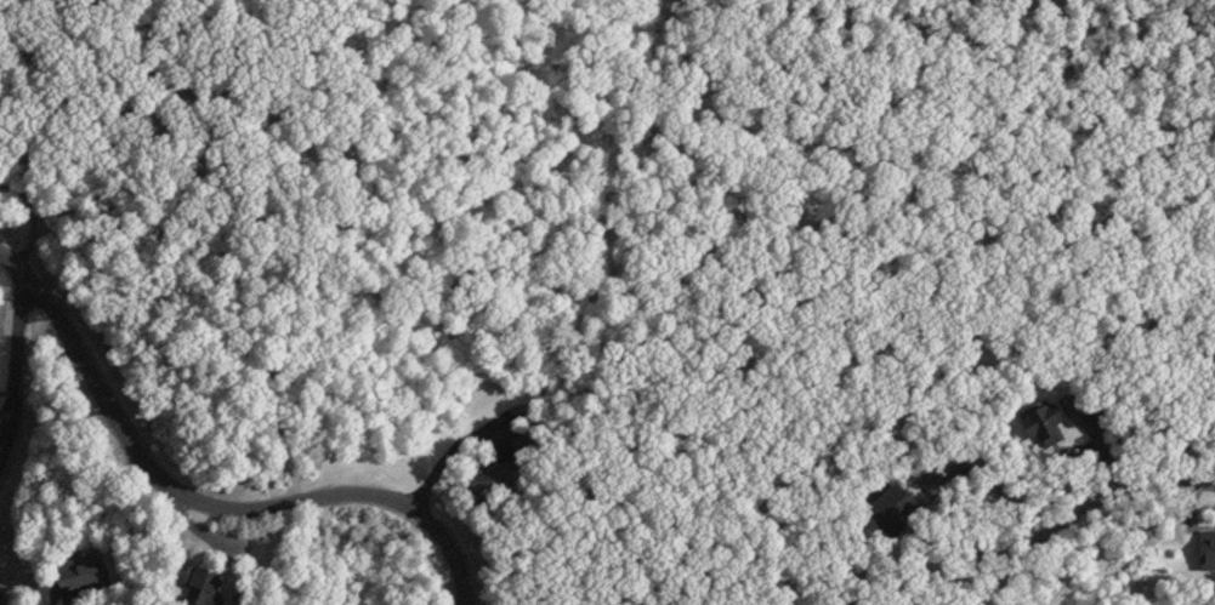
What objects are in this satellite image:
road: (10, 366)
road: (1, 438)
road: (993, 479)
road: (1117, 490)
road: (206, 504)
building: (1208, 546)
building: (79, 572)
building: (204, 584)

